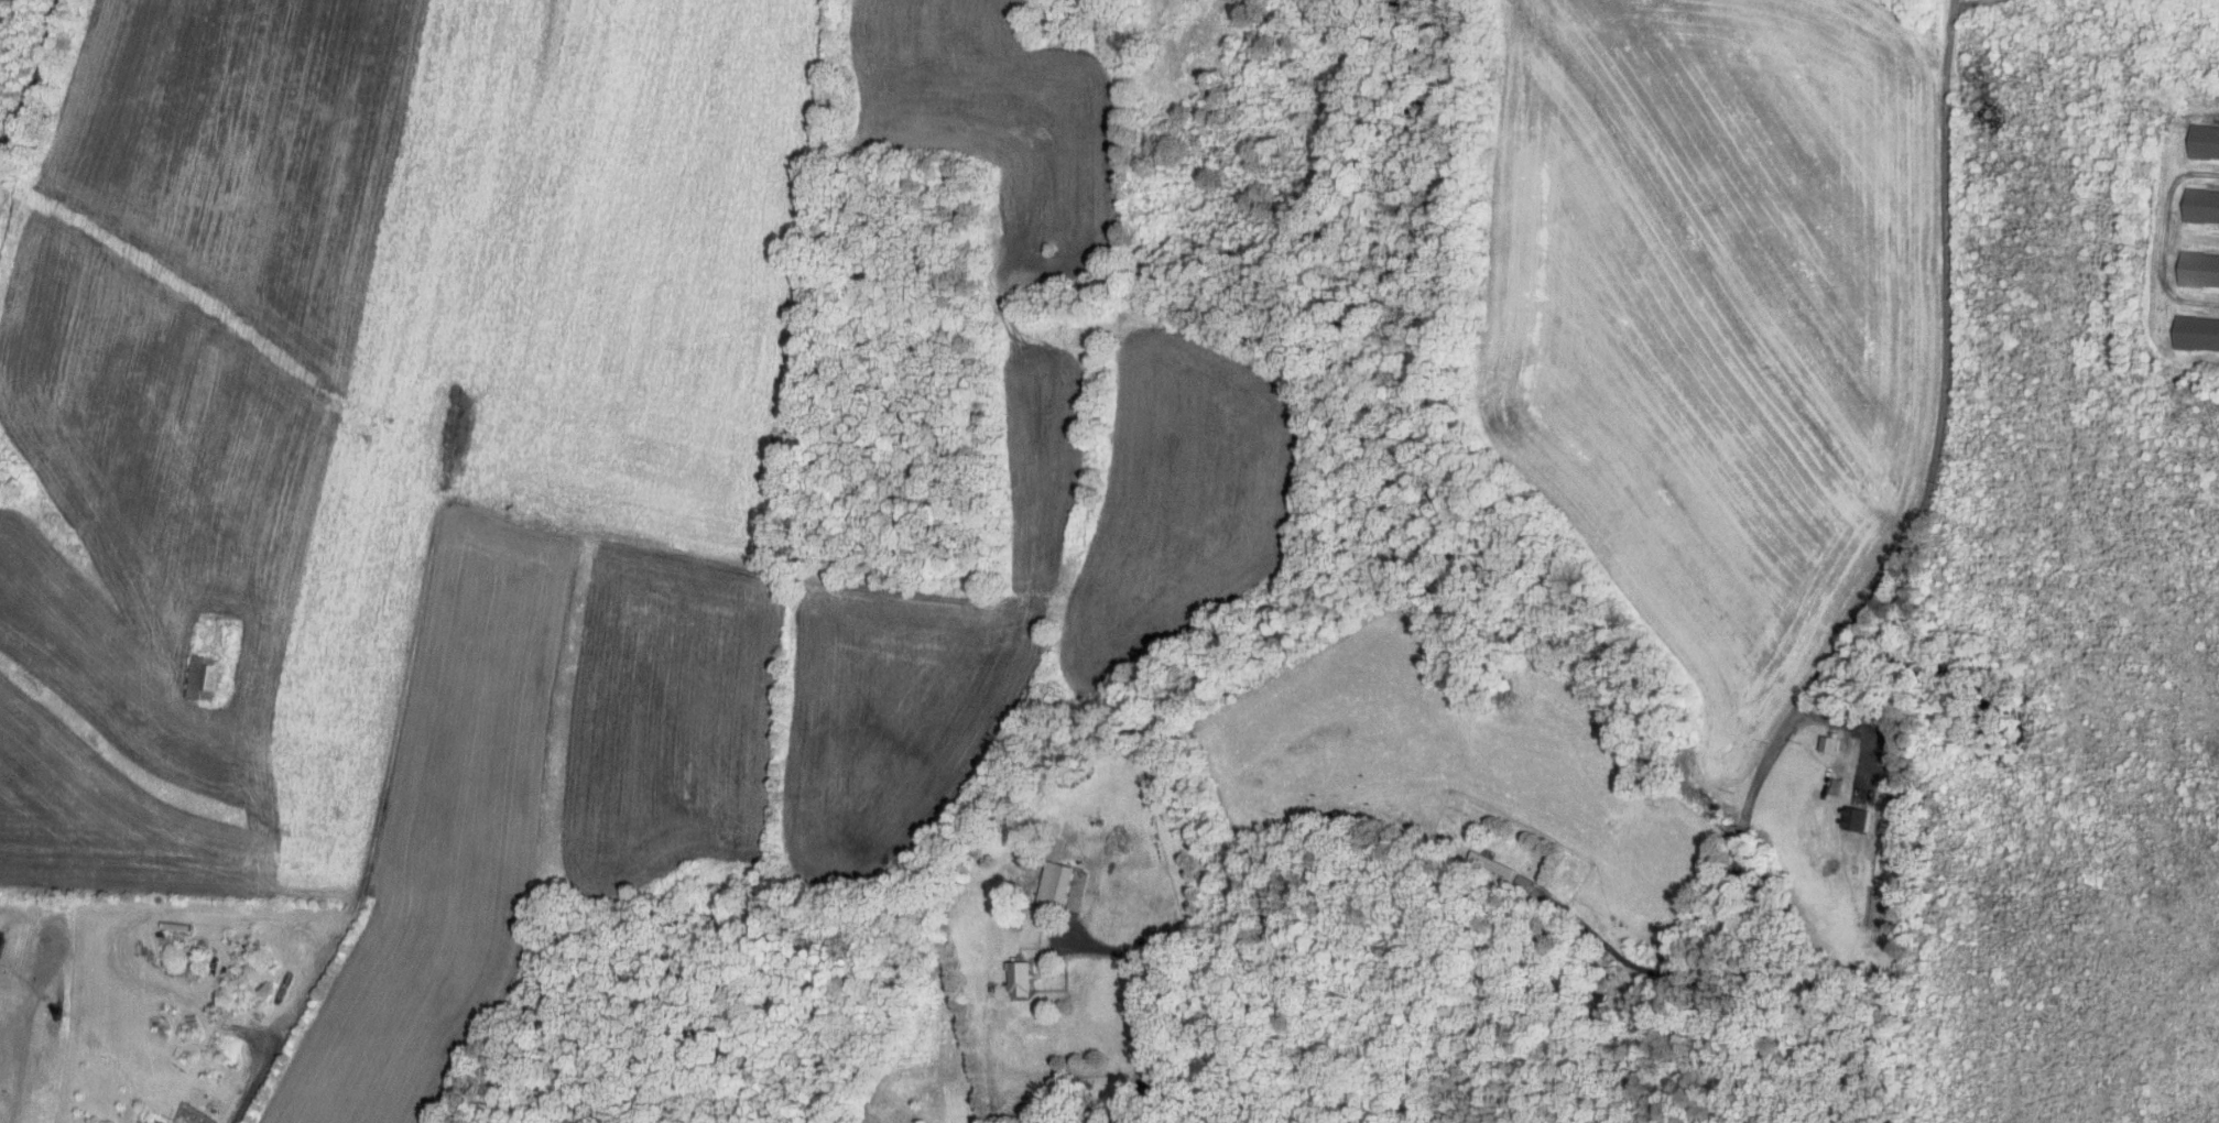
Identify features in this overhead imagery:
road: (21, 46)
building: (2201, 142)
building: (2199, 206)
building: (2197, 270)
building: (2195, 334)
road: (486, 510)
road: (1882, 579)
building: (200, 676)
building: (1825, 743)
building: (1488, 865)
building: (1052, 884)
road: (1625, 958)
building: (1016, 978)
road: (1143, 996)

